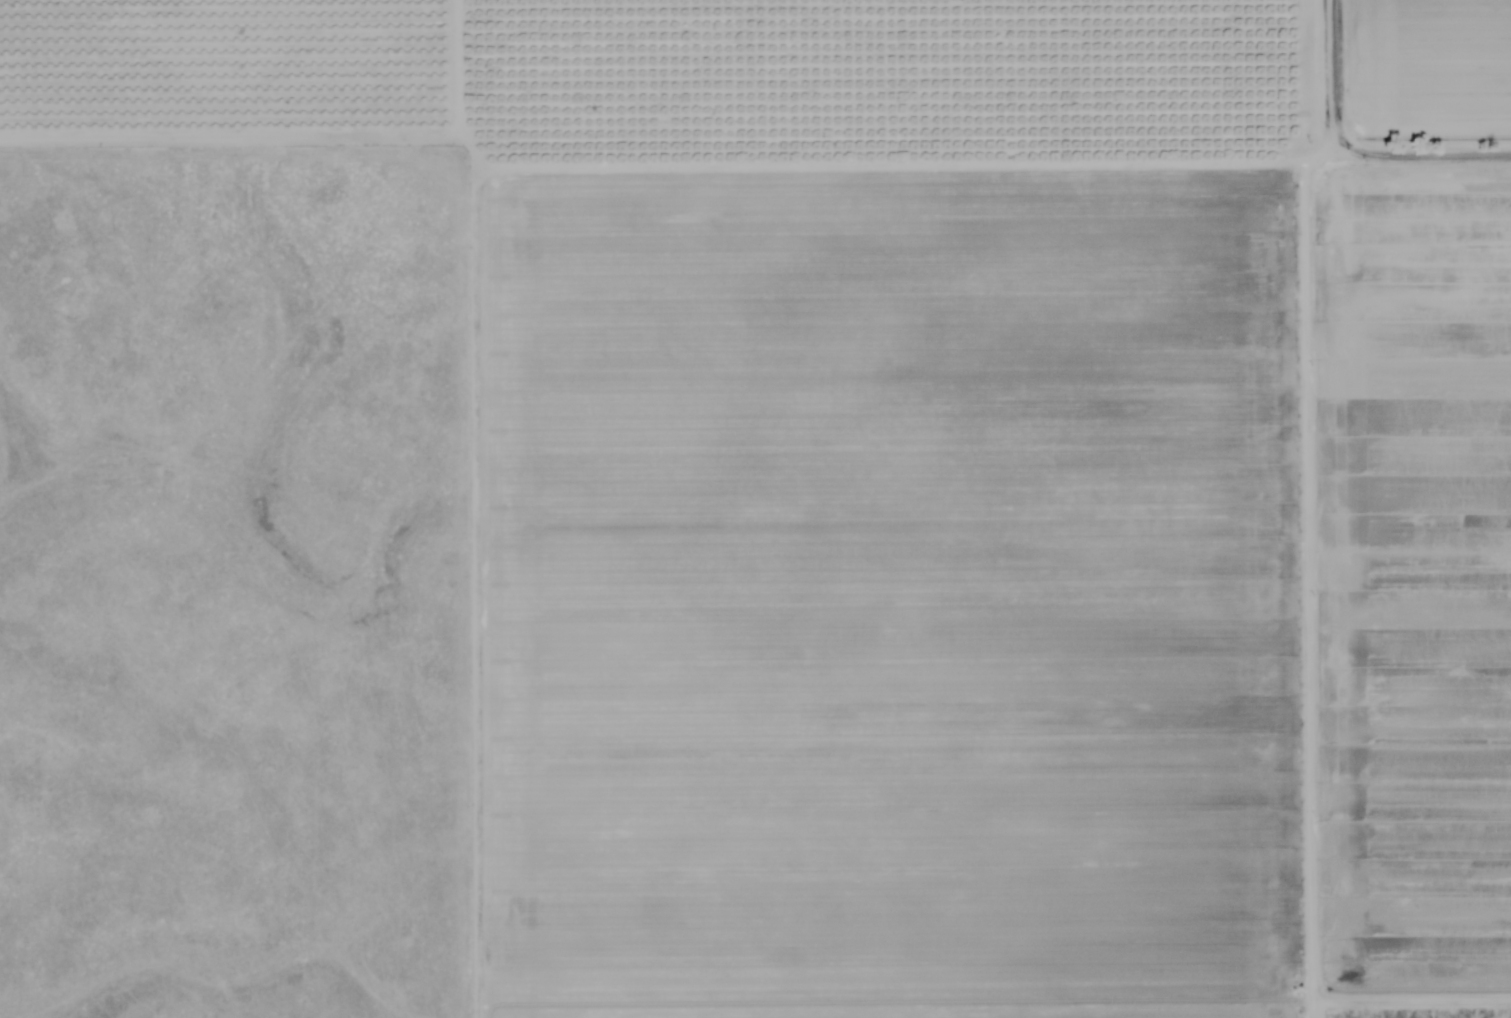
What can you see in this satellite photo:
road: (1314, 82)
road: (999, 165)
road: (488, 508)
road: (1327, 591)
road: (1424, 965)

